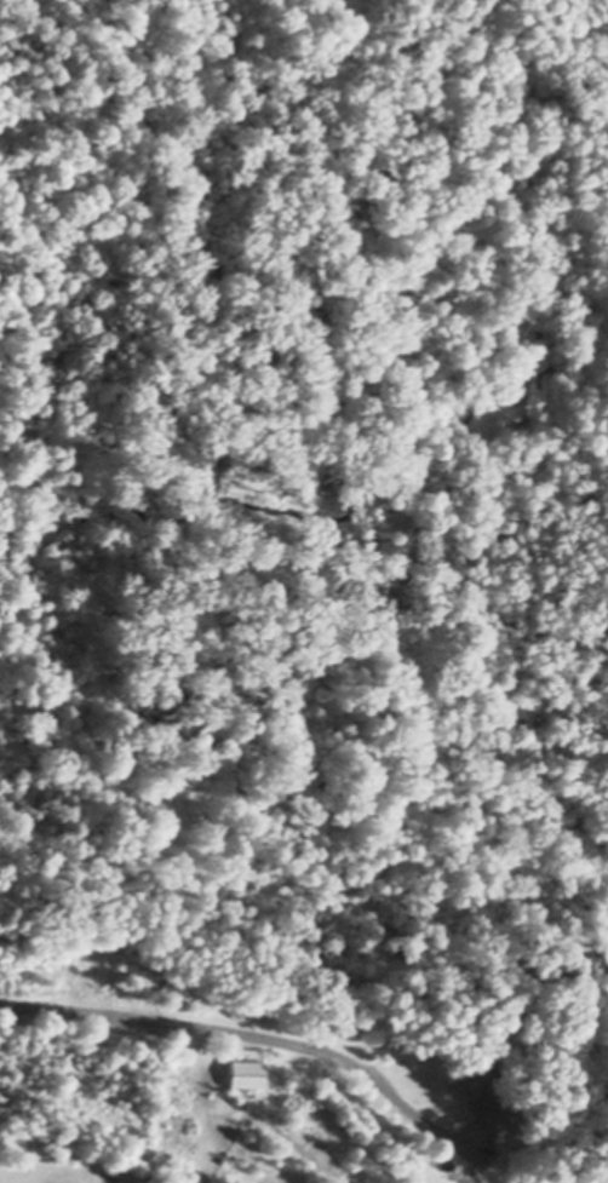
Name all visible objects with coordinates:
road: (248, 1030)
building: (247, 1070)
building: (486, 1092)

